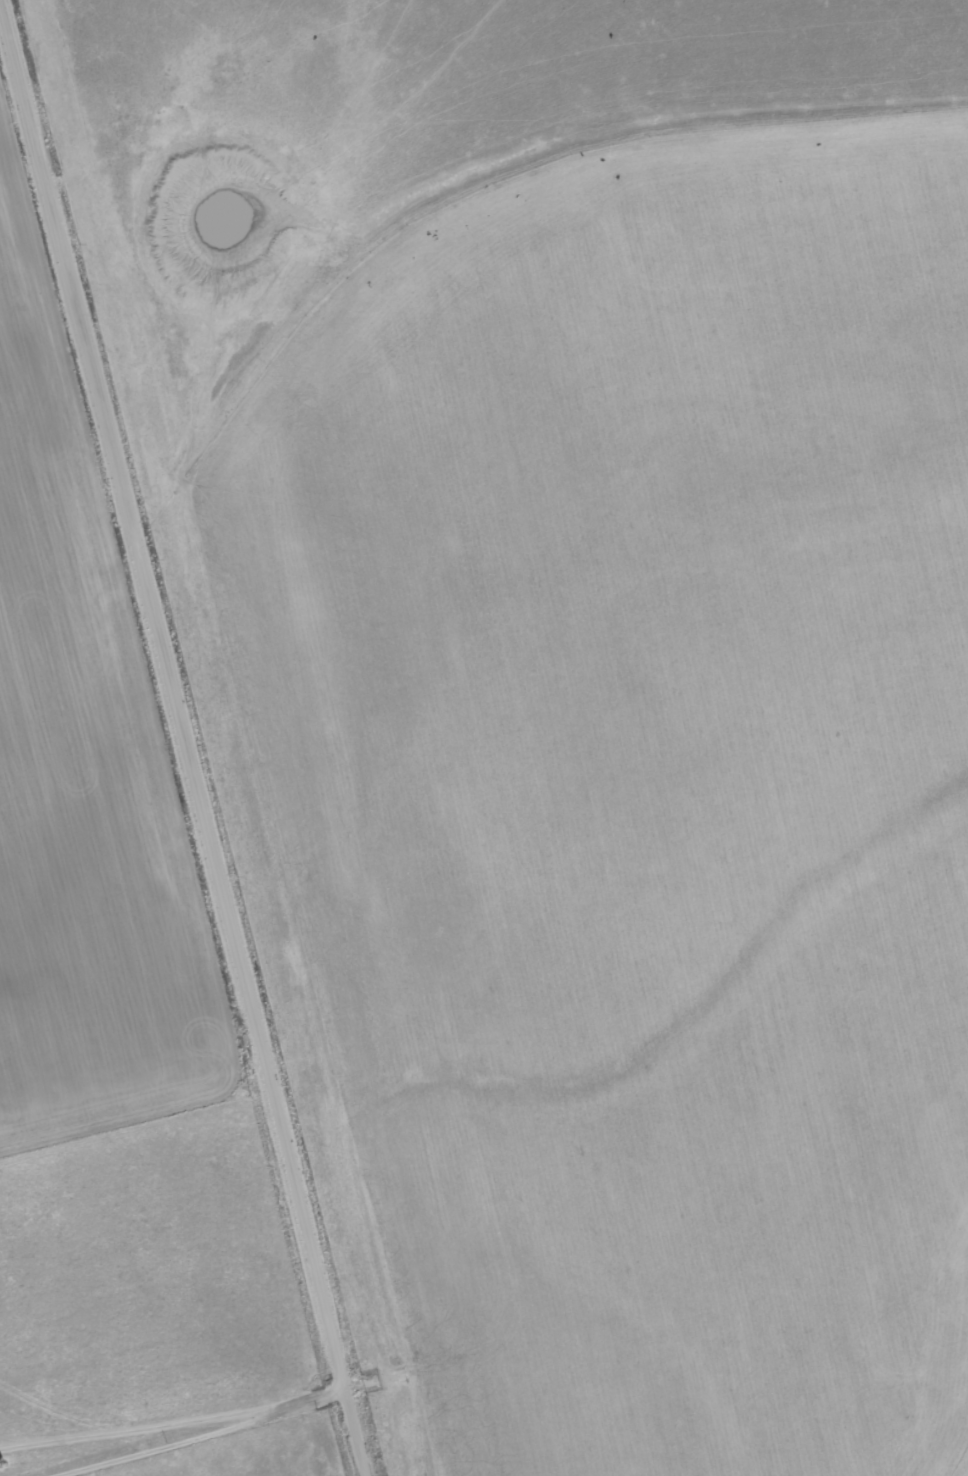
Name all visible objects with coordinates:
road: (181, 747)
road: (171, 1422)

